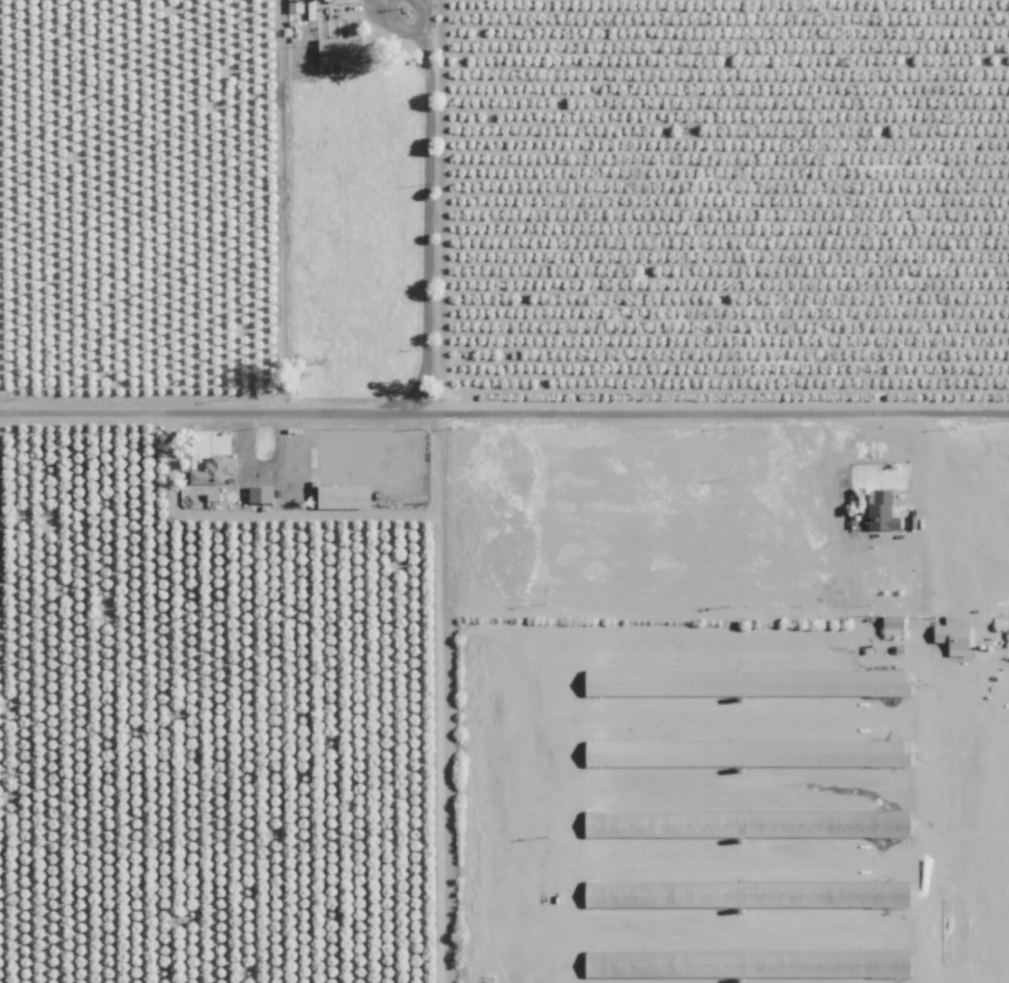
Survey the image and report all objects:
building: (295, 6)
road: (422, 14)
road: (392, 24)
building: (334, 50)
crop: (724, 194)
road: (424, 217)
road: (504, 406)
road: (919, 456)
building: (212, 470)
building: (260, 493)
building: (344, 495)
building: (879, 508)
building: (890, 624)
building: (950, 637)
building: (741, 681)
crop: (719, 699)
building: (742, 751)
building: (743, 822)
building: (743, 892)
building: (743, 963)

